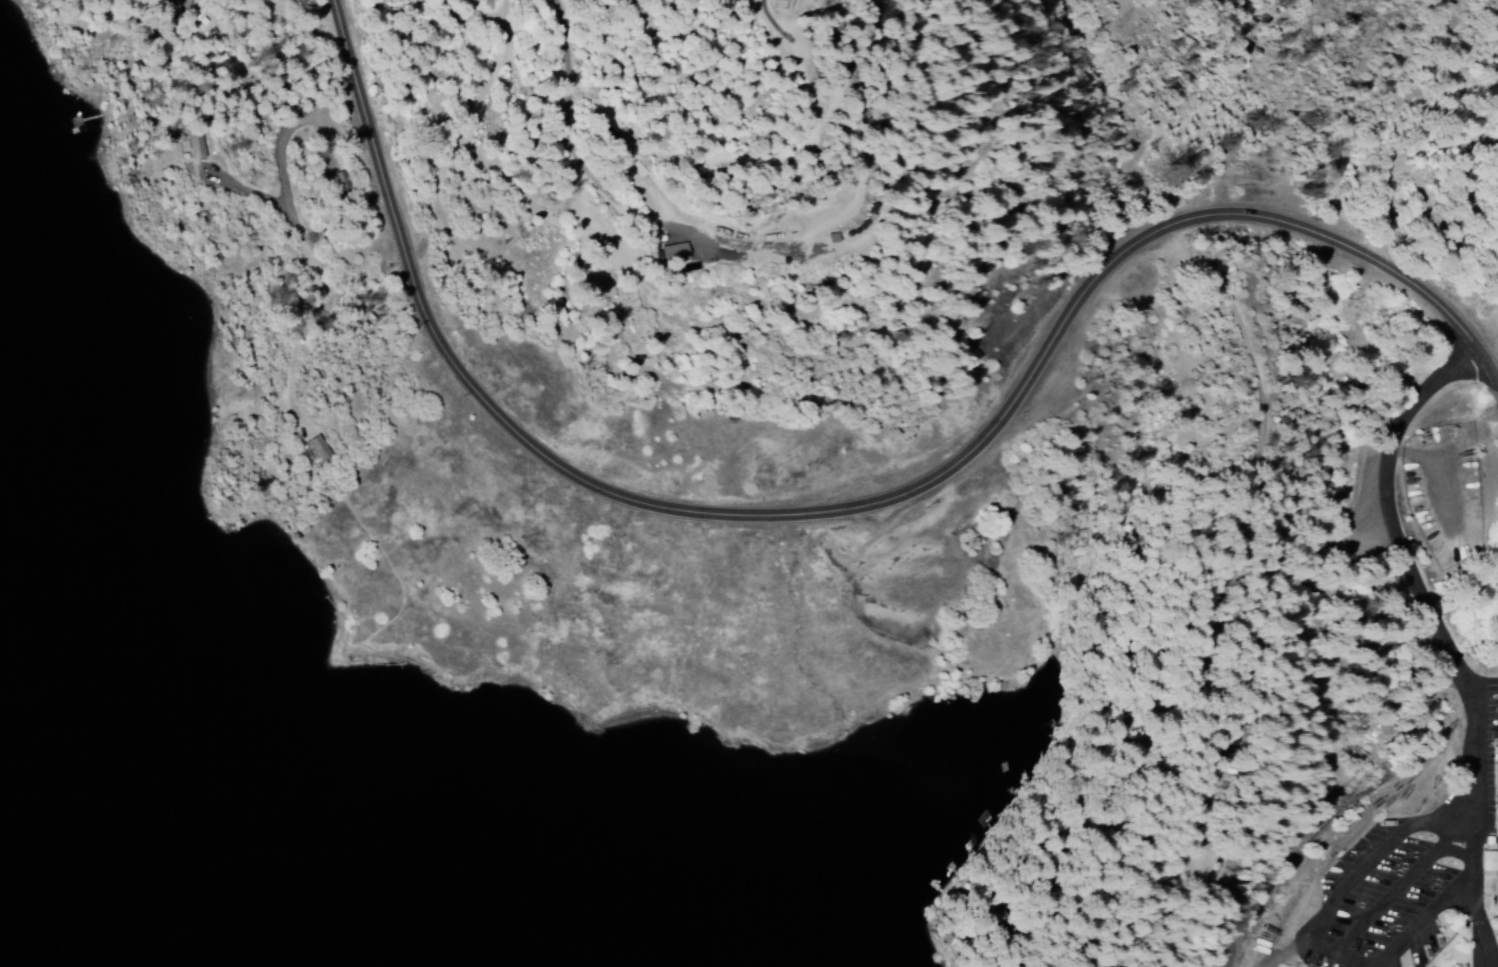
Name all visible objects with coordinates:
road: (267, 118)
building: (196, 145)
building: (673, 252)
road: (333, 310)
building: (320, 448)
road: (878, 536)
road: (1286, 580)
road: (1431, 608)
road: (1231, 821)
building: (1490, 861)
building: (1201, 864)
river: (66, 916)

